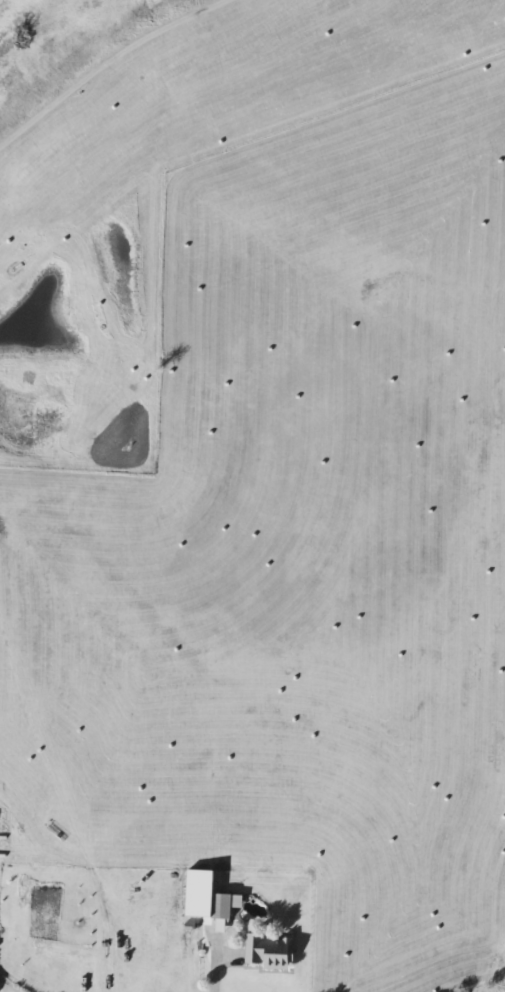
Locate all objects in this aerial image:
building: (221, 906)
building: (268, 952)

